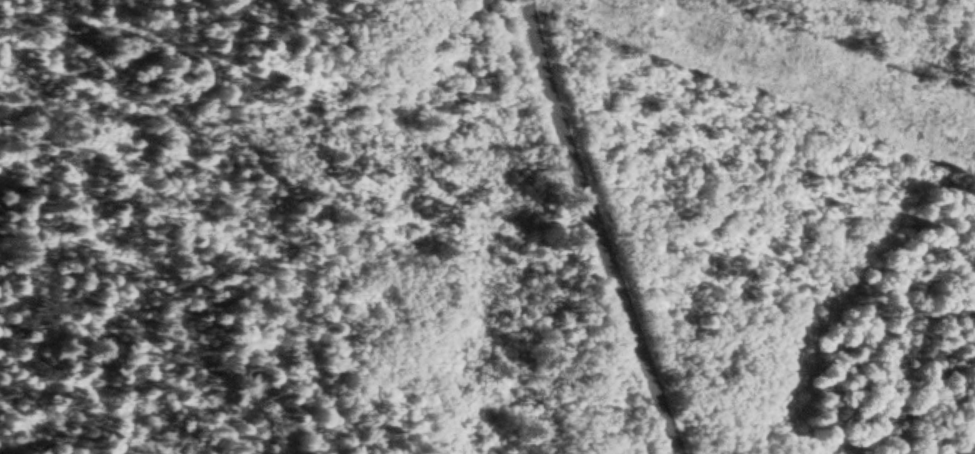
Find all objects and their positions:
road: (594, 228)

